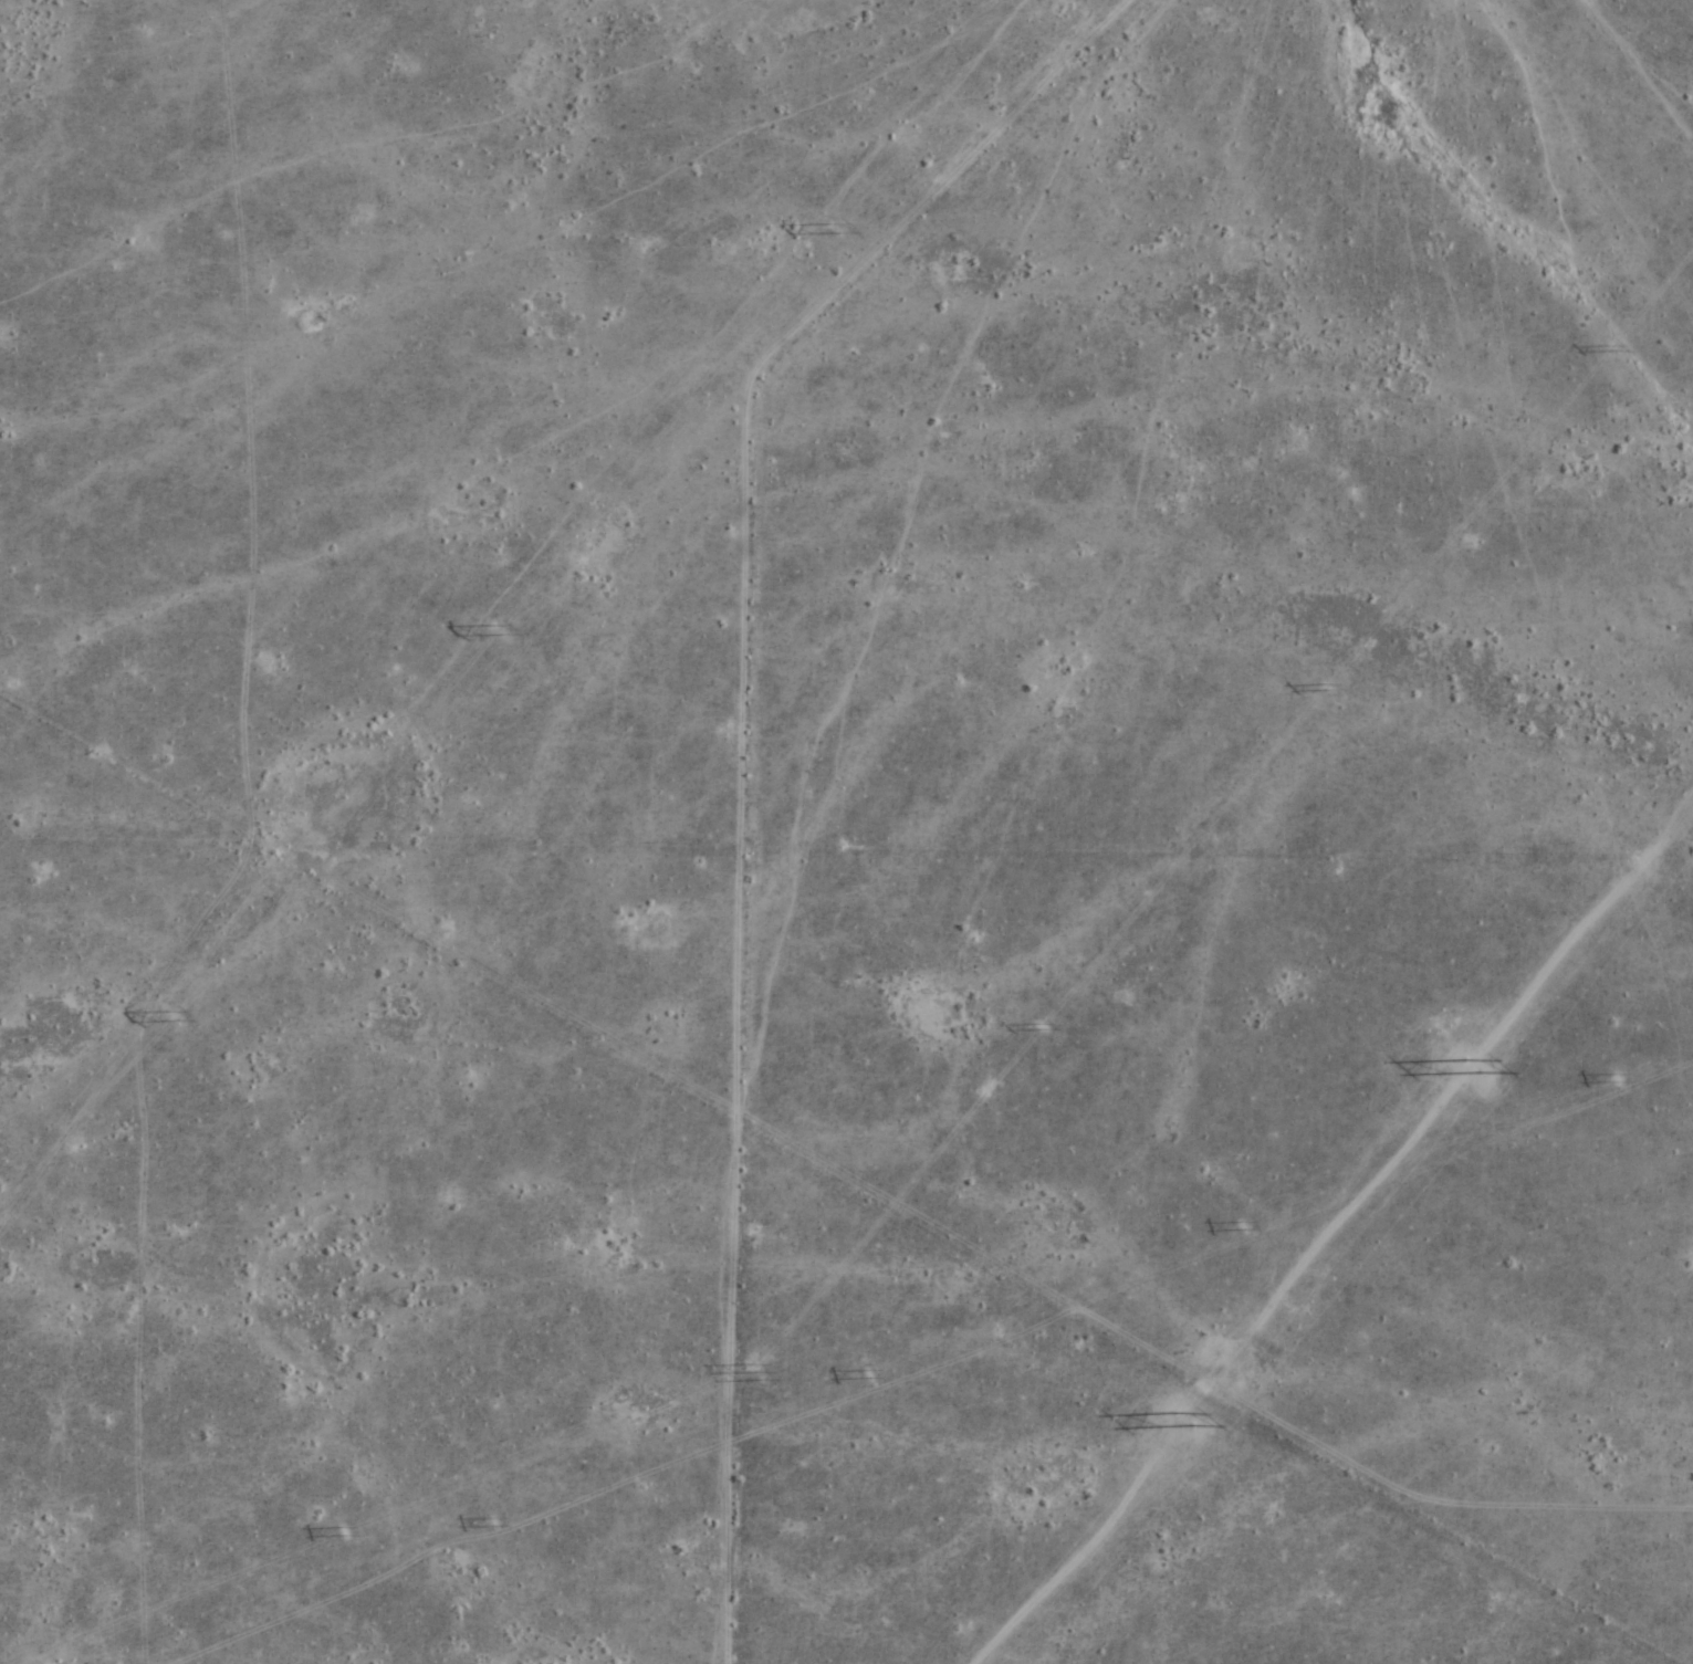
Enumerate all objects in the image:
power tower: (832, 230)
power tower: (1608, 350)
power tower: (495, 631)
power tower: (1320, 686)
power tower: (171, 1017)
power tower: (1037, 1028)
power tower: (1464, 1066)
power tower: (1611, 1078)
power tower: (1237, 1226)
power tower: (752, 1372)
power tower: (865, 1374)
power tower: (1174, 1419)
power tower: (490, 1524)
power tower: (339, 1531)

